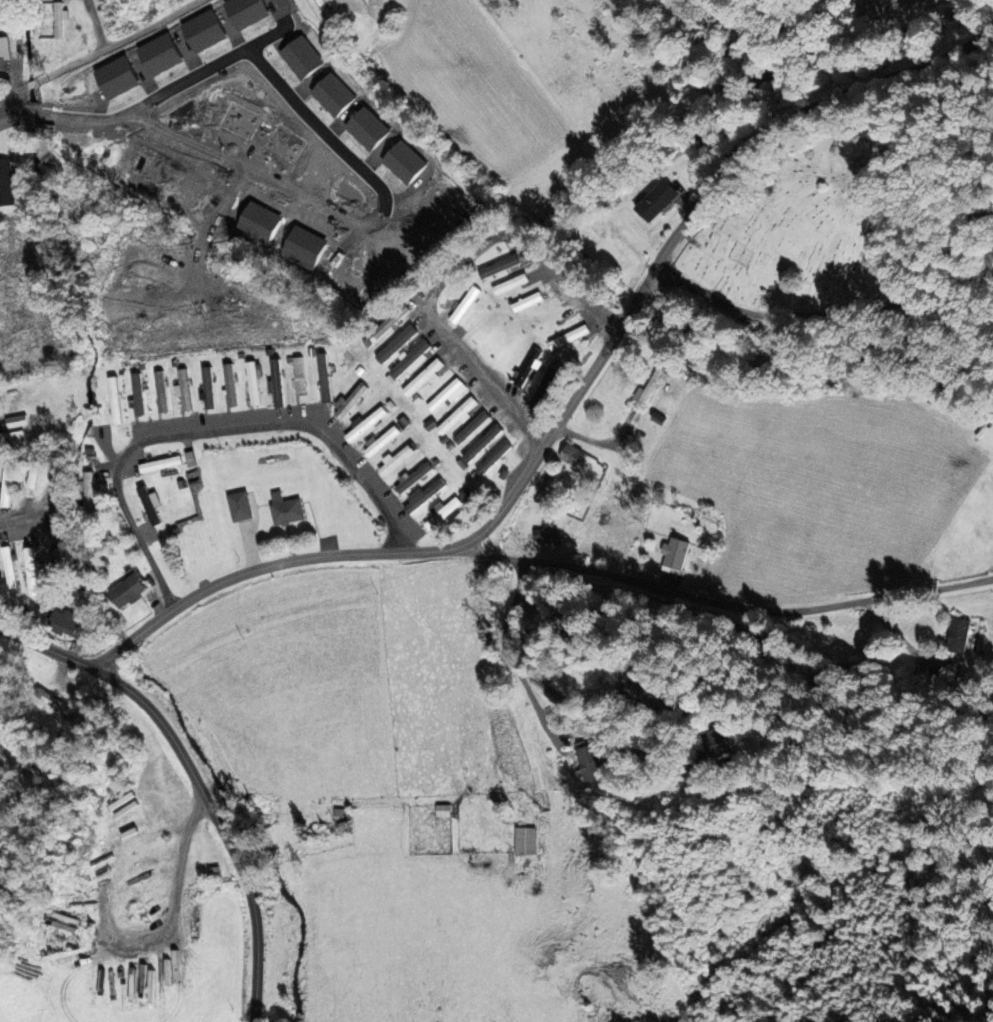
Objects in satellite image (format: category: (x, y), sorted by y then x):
building: (246, 12)
building: (59, 19)
road: (95, 24)
building: (203, 31)
road: (100, 50)
building: (159, 54)
building: (4, 55)
building: (301, 57)
building: (116, 77)
building: (333, 95)
building: (368, 129)
building: (405, 162)
road: (719, 181)
building: (6, 183)
building: (656, 201)
park: (808, 226)
building: (498, 267)
road: (445, 277)
building: (509, 284)
building: (526, 302)
building: (464, 305)
road: (839, 315)
building: (568, 337)
building: (396, 344)
building: (409, 359)
building: (527, 368)
building: (298, 375)
building: (324, 377)
building: (423, 377)
building: (253, 381)
building: (275, 383)
building: (229, 385)
building: (651, 386)
building: (208, 387)
building: (543, 388)
building: (182, 390)
building: (160, 392)
building: (137, 394)
building: (446, 394)
building: (114, 401)
building: (350, 401)
building: (457, 416)
building: (15, 421)
building: (364, 424)
building: (473, 427)
road: (215, 432)
building: (381, 441)
building: (482, 443)
building: (570, 455)
building: (493, 458)
building: (394, 460)
building: (159, 464)
building: (32, 474)
building: (412, 478)
building: (5, 486)
building: (424, 496)
road: (508, 502)
building: (149, 505)
building: (239, 506)
building: (285, 509)
building: (442, 513)
building: (59, 514)
road: (6, 531)
building: (547, 534)
building: (56, 553)
building: (674, 555)
building: (8, 568)
road: (267, 570)
building: (30, 572)
building: (127, 591)
road: (728, 608)
building: (64, 624)
building: (957, 635)
road: (512, 659)
building: (638, 686)
building: (55, 704)
road: (610, 732)
building: (718, 741)
building: (588, 763)
building: (0, 779)
road: (200, 779)
building: (443, 811)
building: (524, 841)
building: (212, 871)

